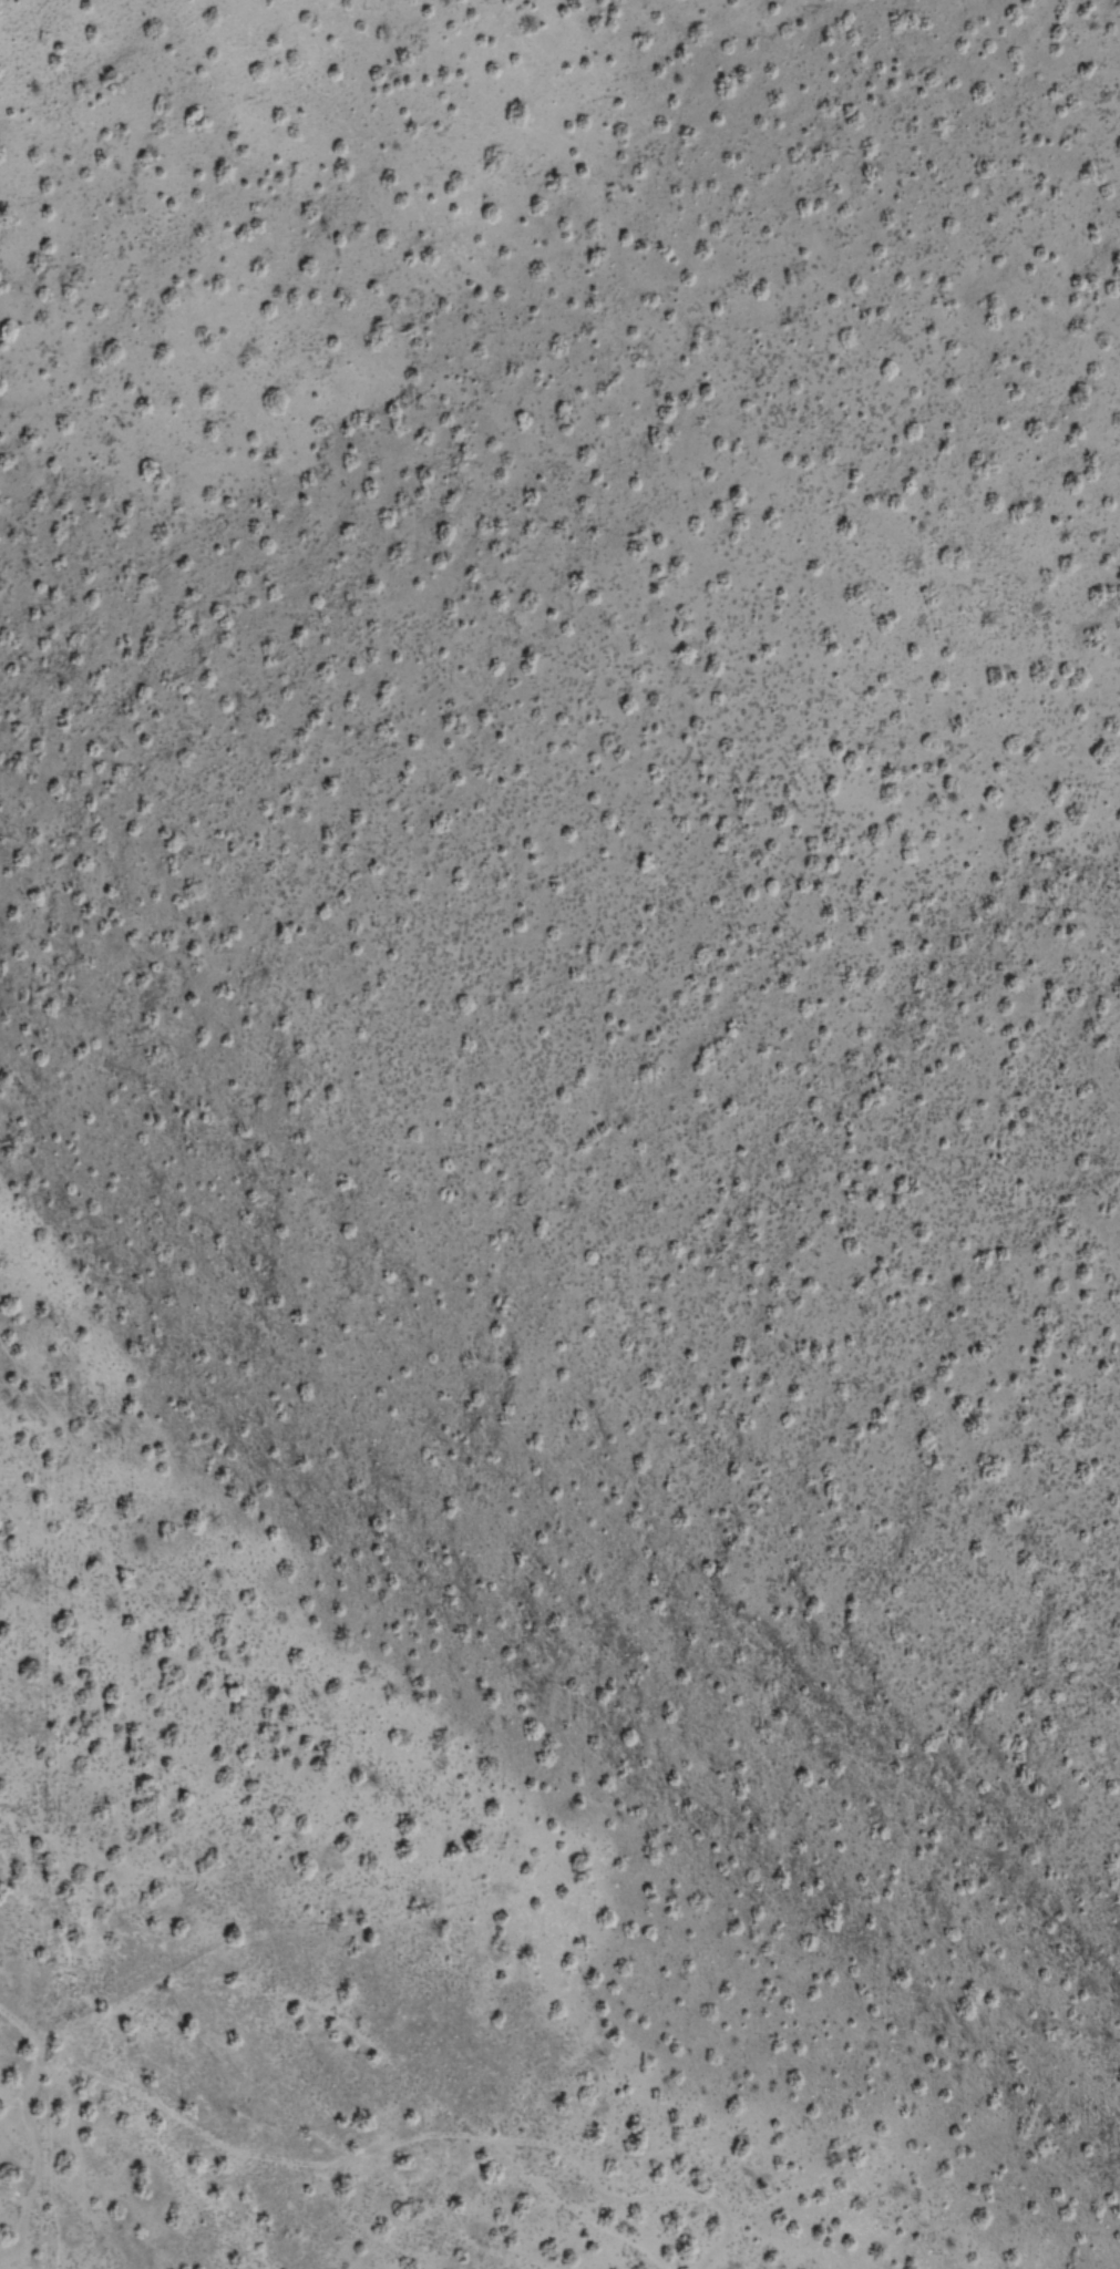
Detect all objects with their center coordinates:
road: (330, 2027)

